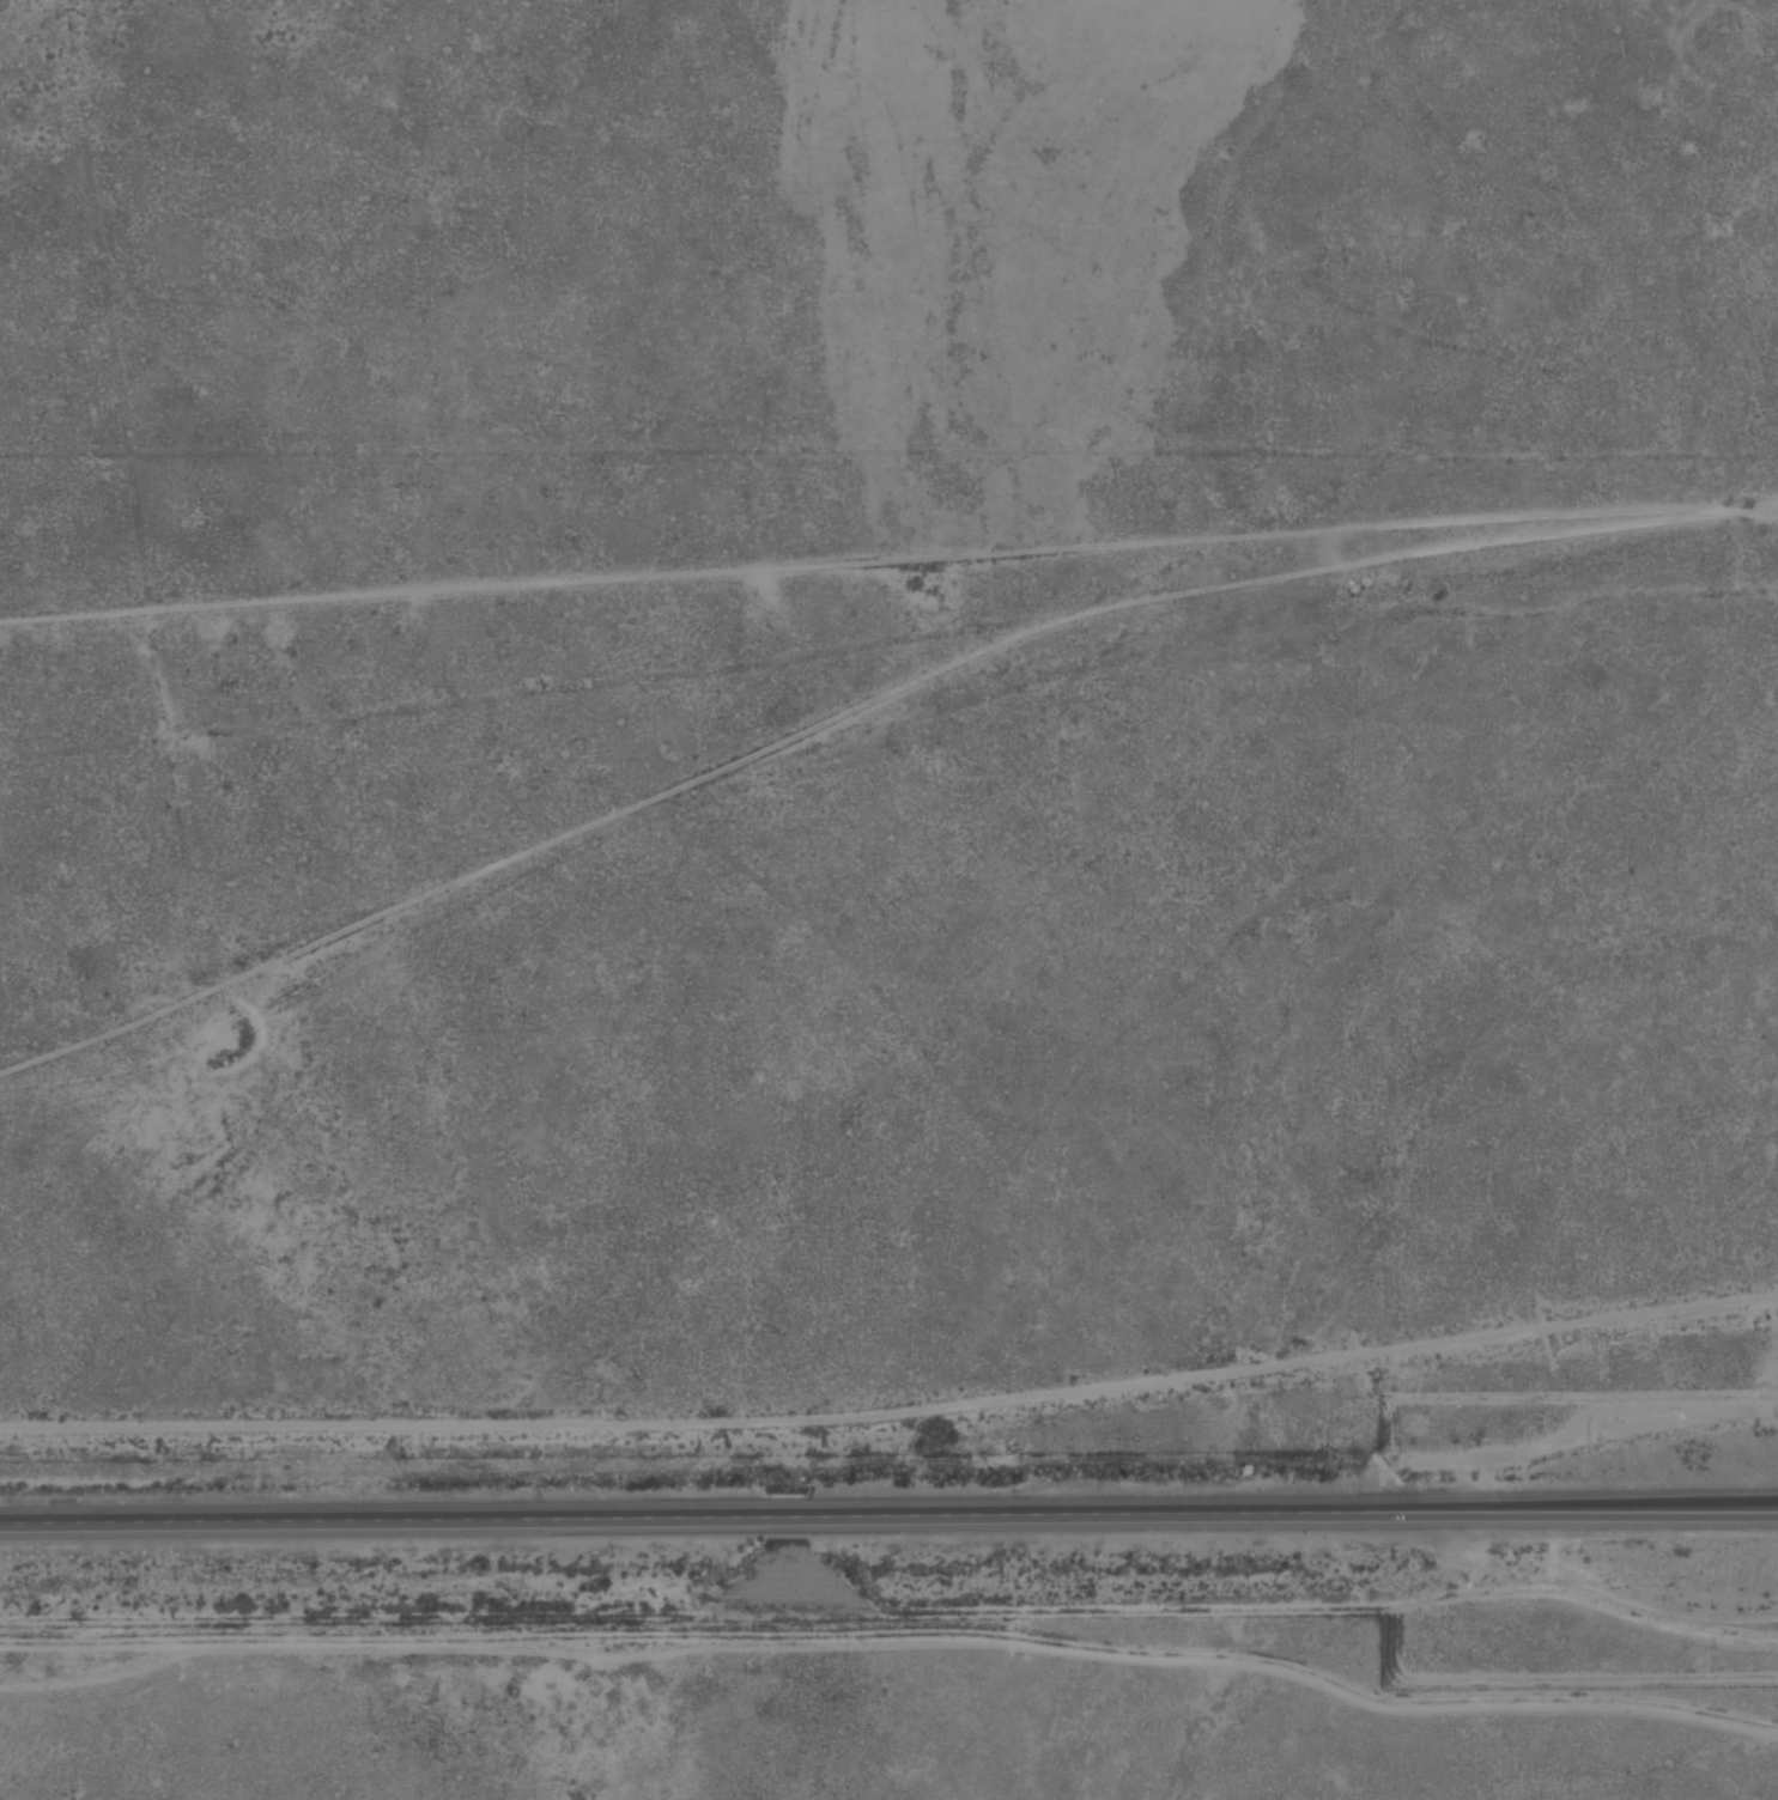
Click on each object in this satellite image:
road: (888, 1513)

